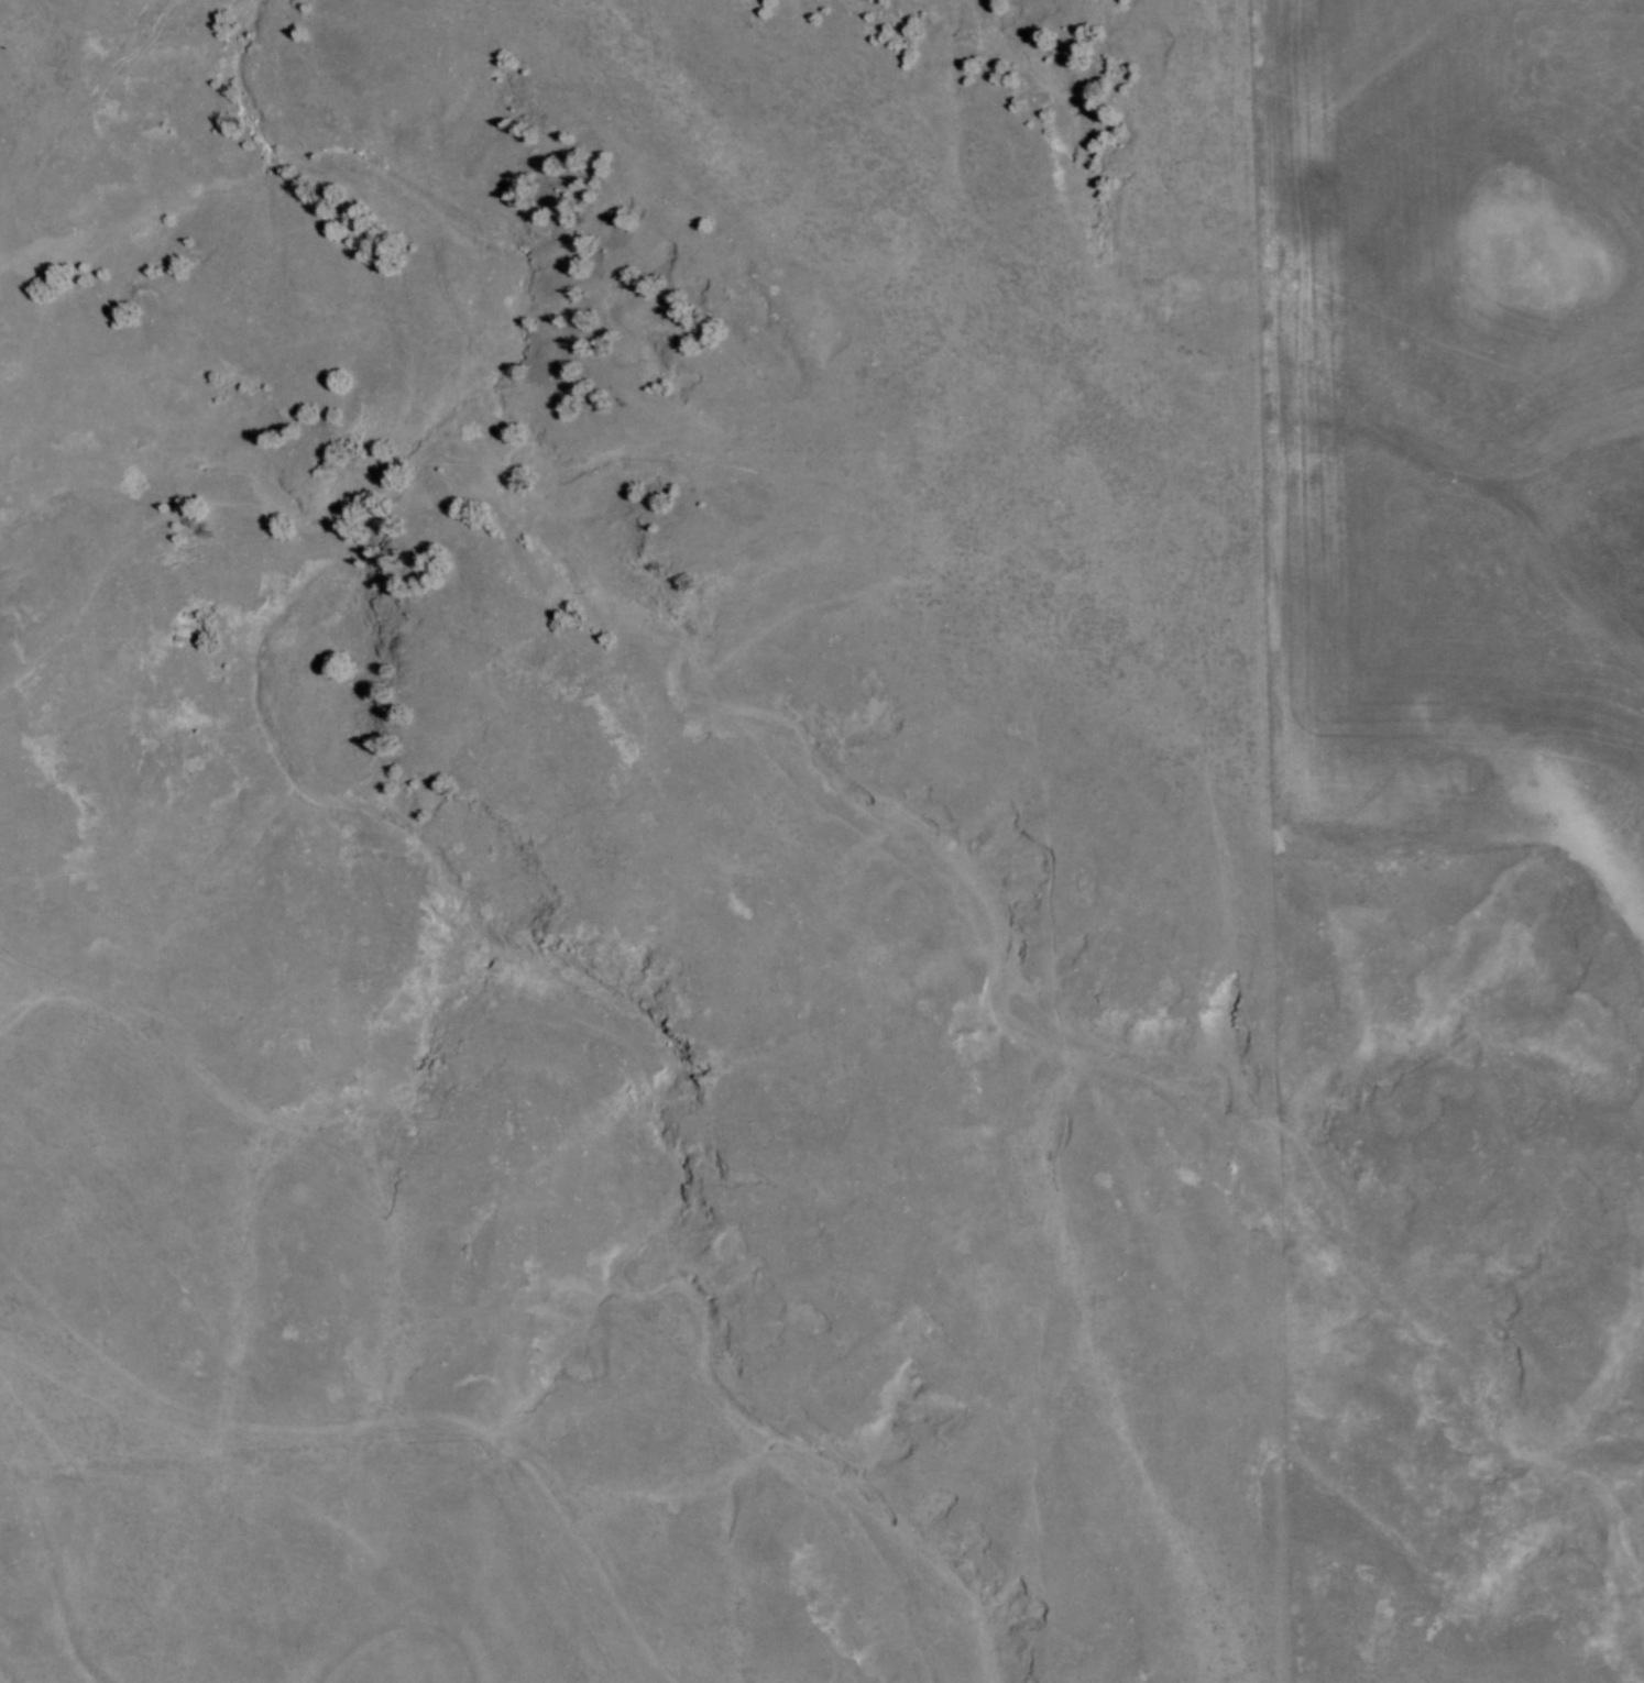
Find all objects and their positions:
crop: (1458, 420)

